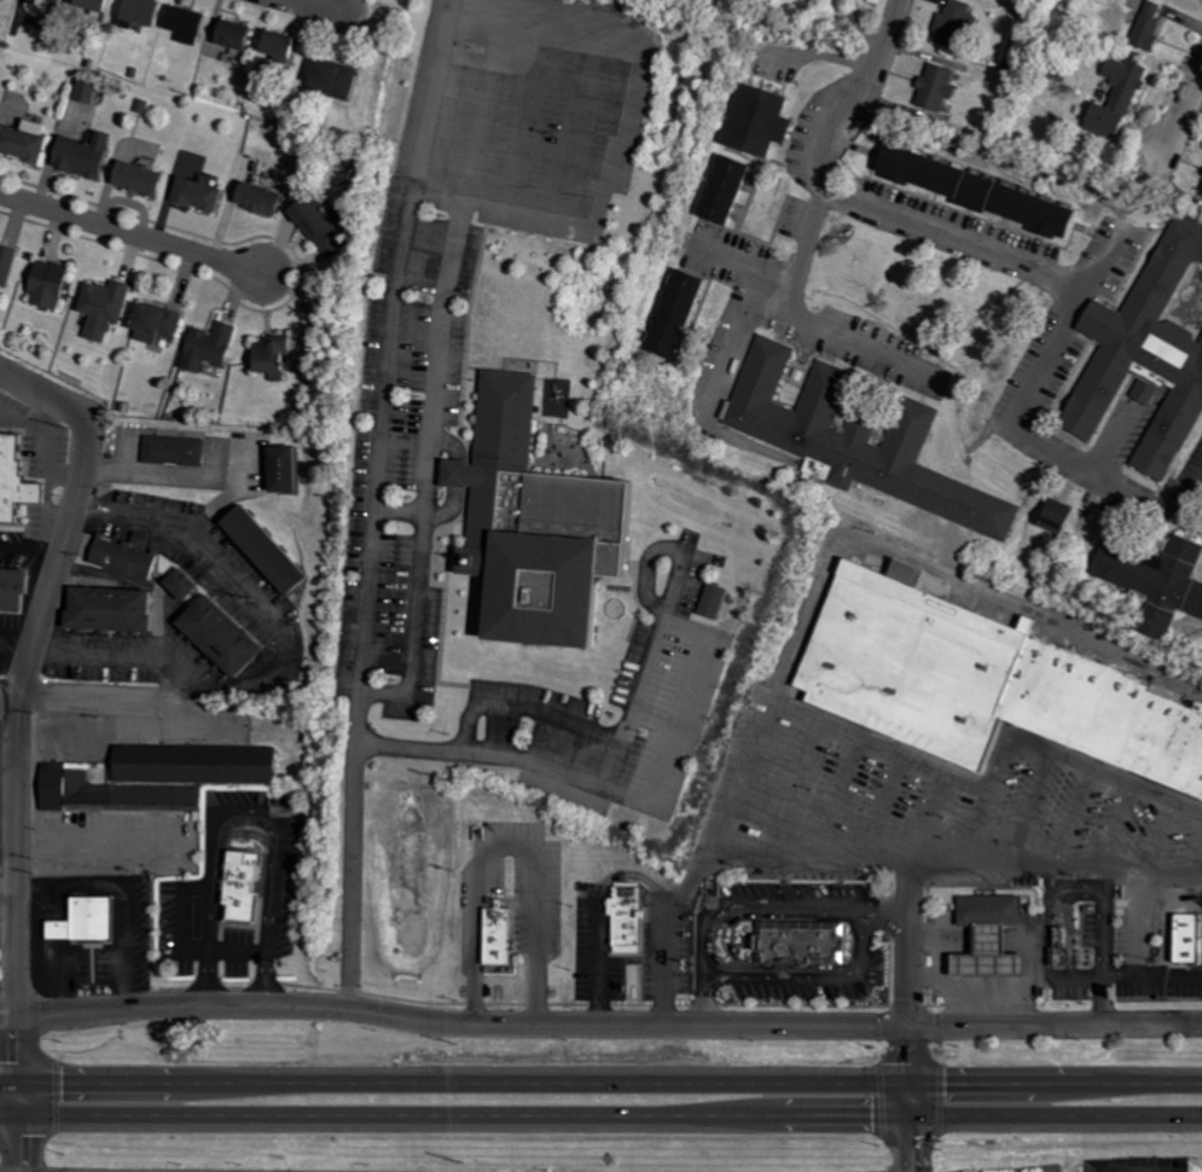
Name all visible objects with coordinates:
building: (64, 0)
building: (40, 1)
building: (104, 4)
road: (327, 7)
building: (149, 11)
building: (954, 22)
building: (193, 23)
building: (1145, 27)
building: (240, 34)
building: (289, 42)
building: (342, 79)
building: (933, 88)
building: (92, 91)
road: (861, 97)
building: (1113, 98)
road: (1184, 110)
building: (755, 121)
building: (29, 140)
building: (92, 155)
building: (147, 178)
building: (721, 190)
building: (969, 190)
building: (204, 192)
building: (1201, 192)
building: (265, 198)
building: (315, 222)
road: (133, 232)
building: (8, 265)
road: (756, 267)
building: (53, 284)
building: (108, 307)
building: (675, 314)
building: (161, 323)
road: (812, 323)
parking lot: (446, 326)
road: (738, 337)
road: (1061, 338)
building: (204, 347)
building: (1150, 348)
building: (267, 358)
building: (860, 441)
building: (170, 451)
road: (429, 451)
building: (274, 469)
road: (152, 470)
building: (10, 478)
road: (374, 504)
building: (1052, 515)
building: (530, 528)
building: (257, 546)
road: (31, 547)
building: (120, 558)
road: (946, 574)
building: (178, 584)
building: (1155, 584)
building: (10, 590)
building: (708, 600)
building: (104, 609)
building: (215, 636)
road: (17, 648)
road: (284, 654)
building: (982, 683)
road: (11, 696)
road: (21, 697)
road: (126, 700)
parking lot: (588, 702)
road: (523, 704)
road: (824, 718)
building: (153, 776)
road: (597, 787)
parking lot: (936, 811)
road: (244, 816)
road: (106, 839)
road: (510, 843)
road: (956, 869)
road: (631, 876)
road: (8, 878)
building: (237, 884)
road: (123, 895)
road: (751, 906)
building: (986, 911)
building: (625, 917)
building: (83, 921)
road: (1104, 924)
building: (492, 935)
building: (1059, 939)
building: (1186, 939)
building: (799, 944)
road: (238, 946)
road: (42, 951)
road: (1138, 957)
building: (983, 958)
building: (1058, 958)
road: (1023, 975)
road: (1103, 1000)
road: (1004, 1002)
road: (600, 1027)
road: (600, 1083)
road: (19, 1098)
road: (600, 1116)
road: (913, 1126)
road: (19, 1143)

